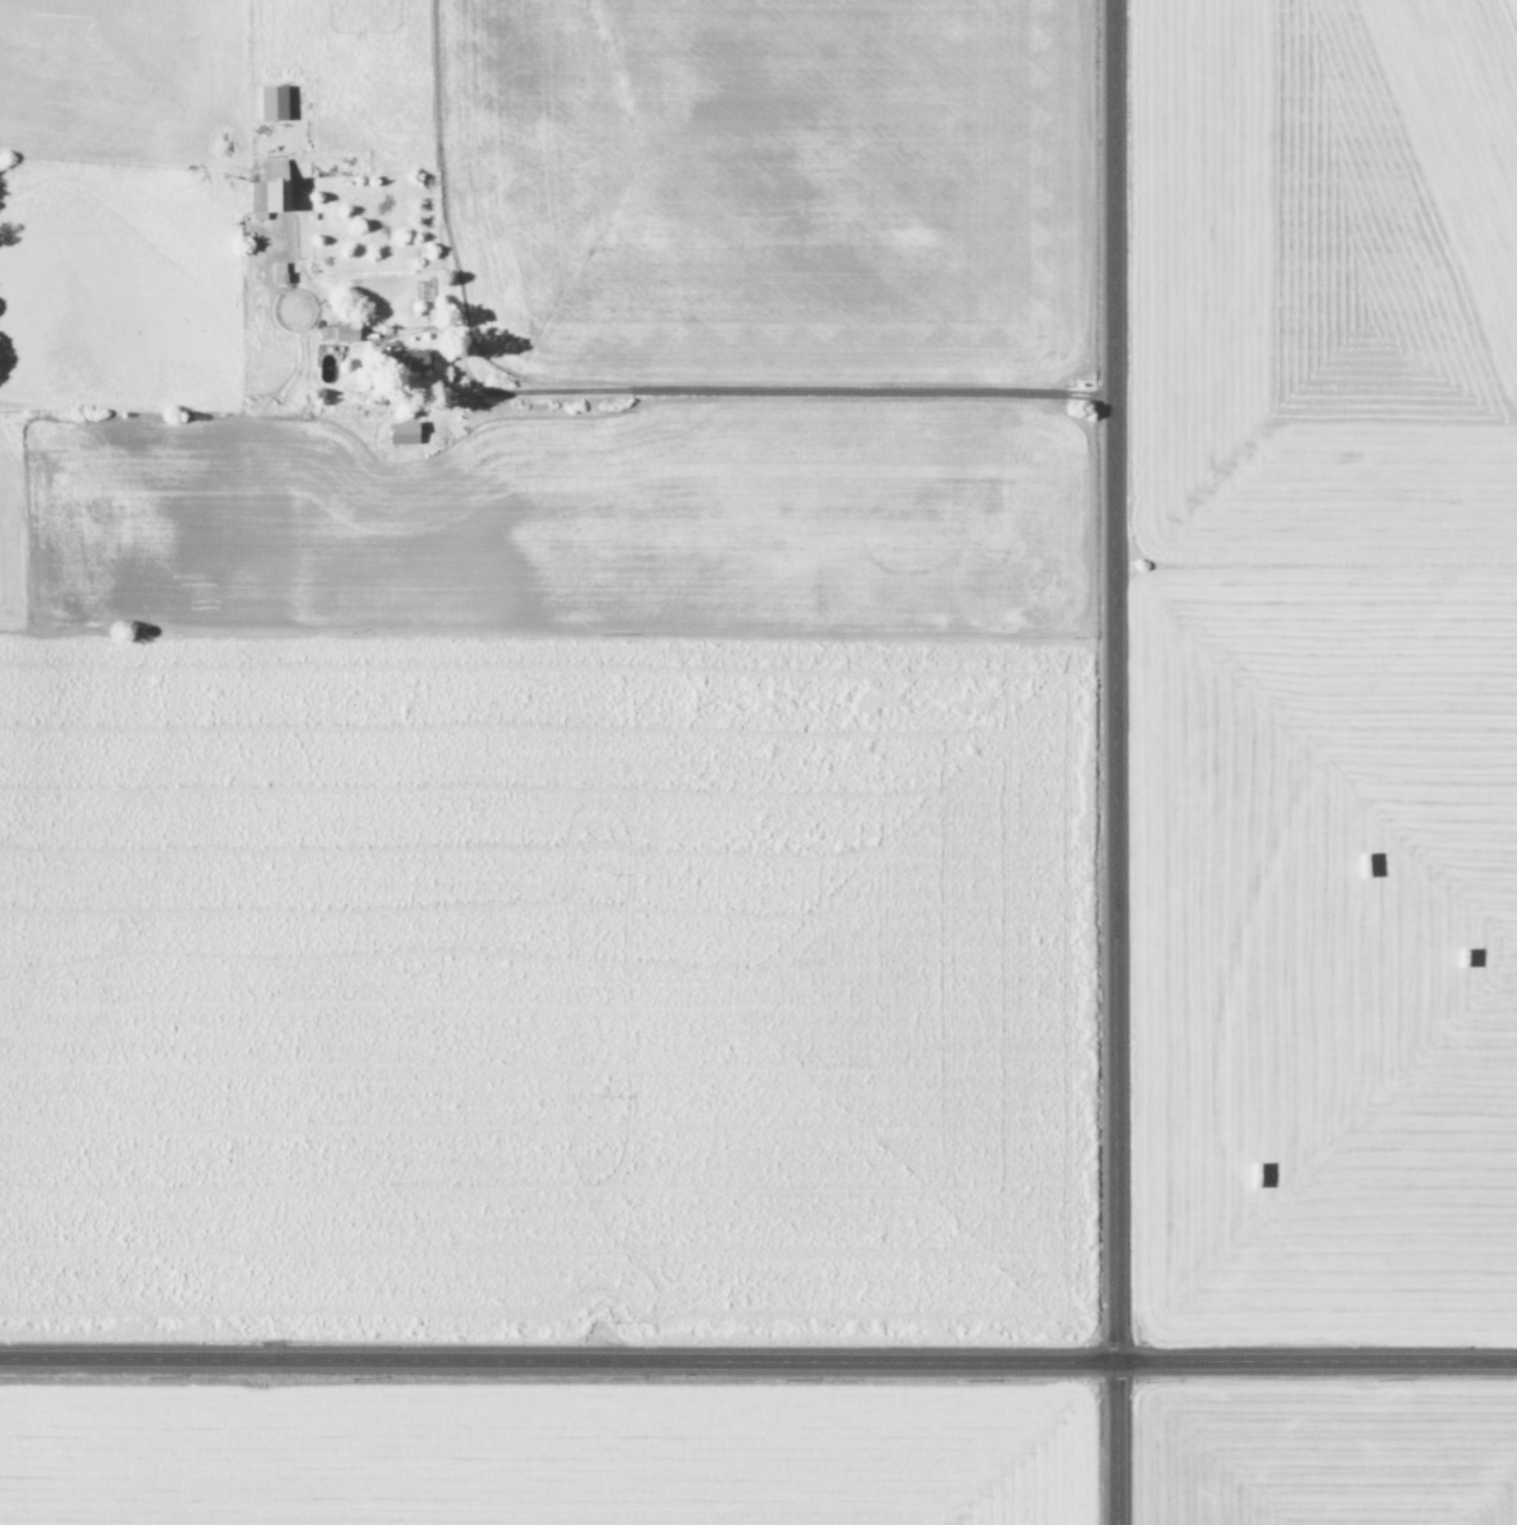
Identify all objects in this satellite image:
building: (269, 102)
building: (266, 188)
building: (343, 332)
building: (402, 359)
road: (757, 399)
building: (400, 432)
crop: (1330, 662)
crop: (542, 670)
road: (1109, 762)
road: (557, 1359)
road: (1315, 1360)
crop: (1328, 1450)
crop: (548, 1453)

